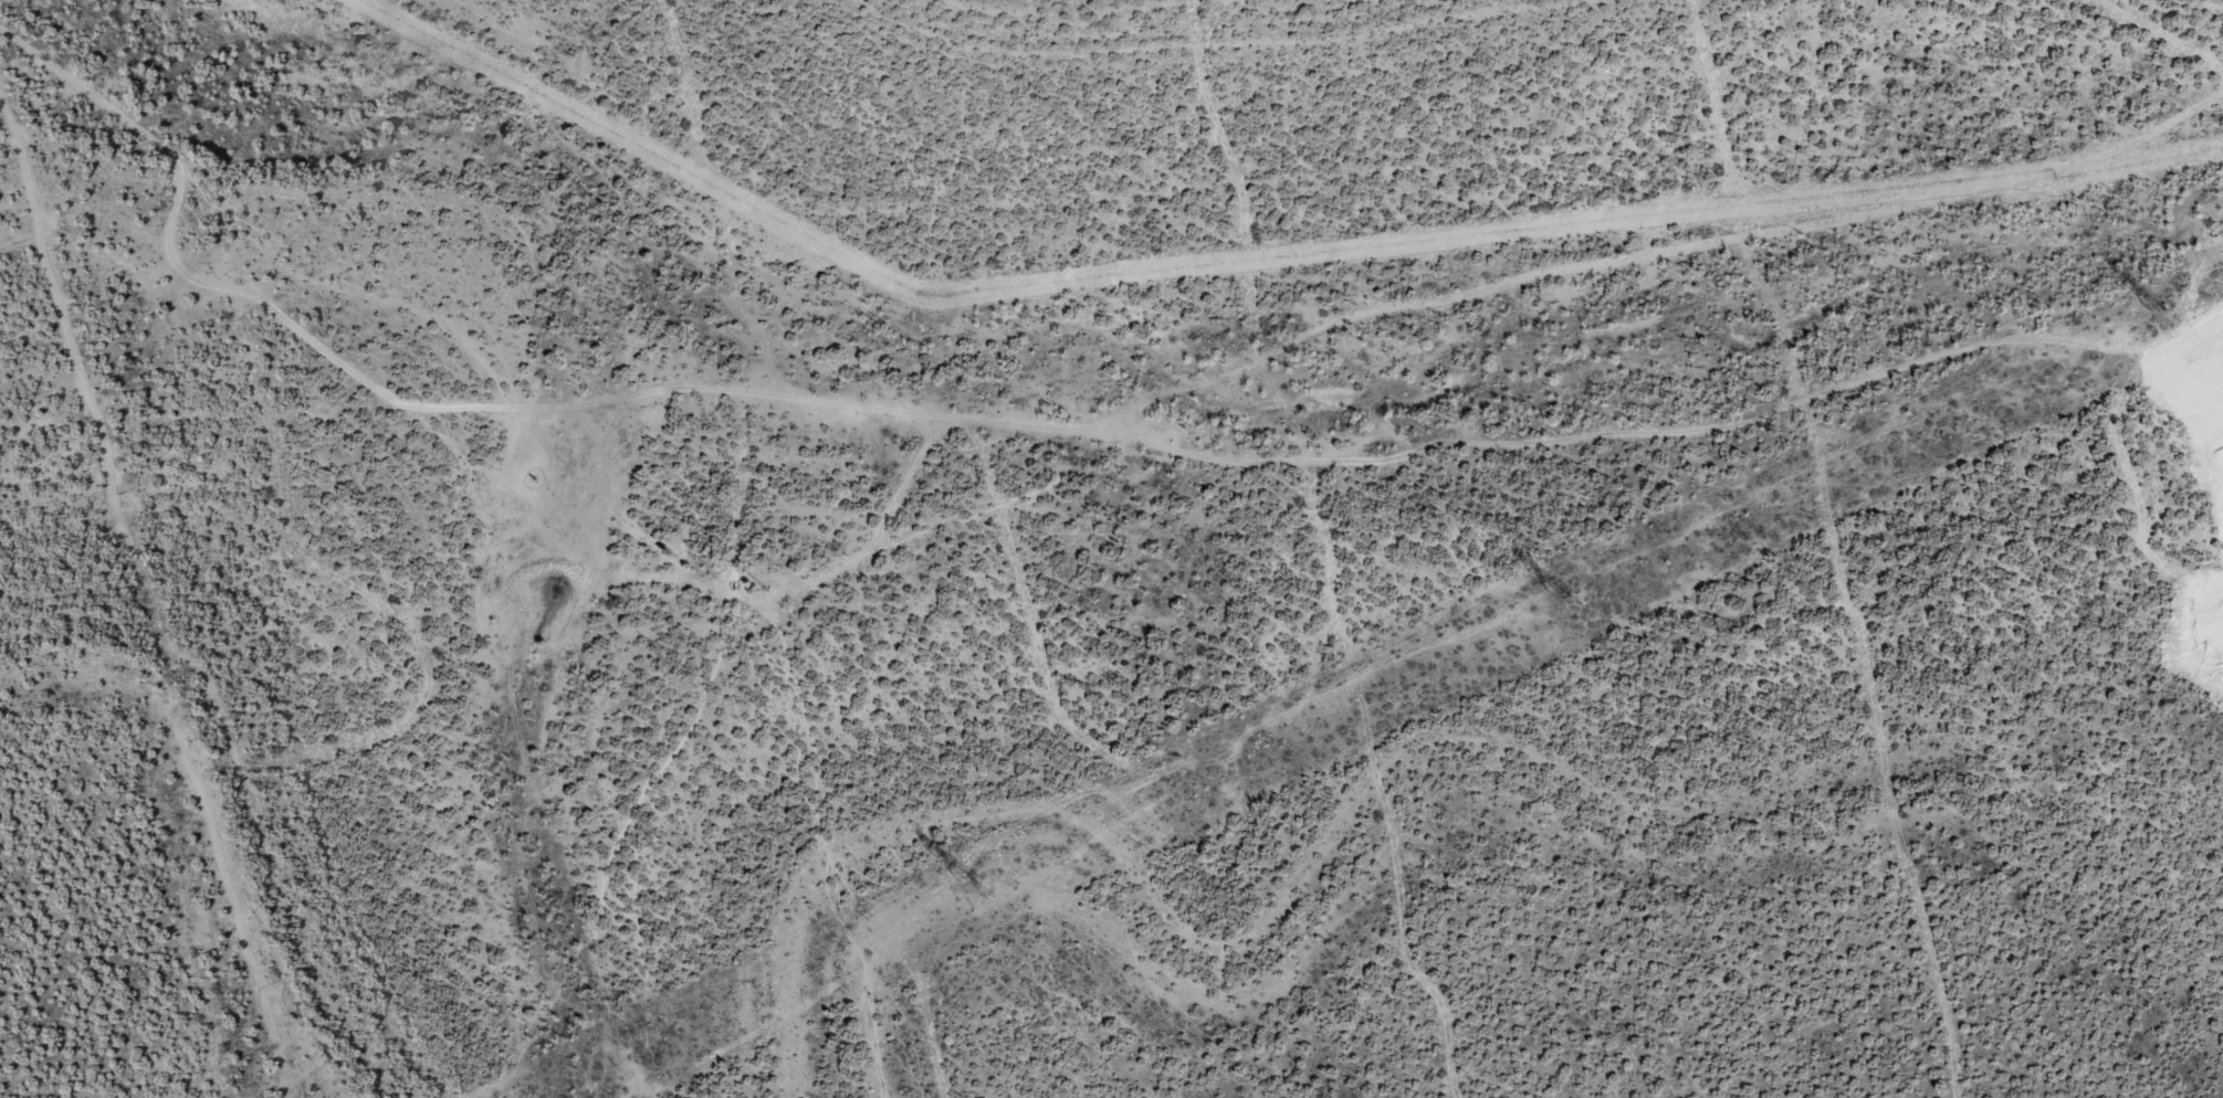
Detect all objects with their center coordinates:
power tower: (2172, 307)
power tower: (1575, 595)
power tower: (986, 885)

